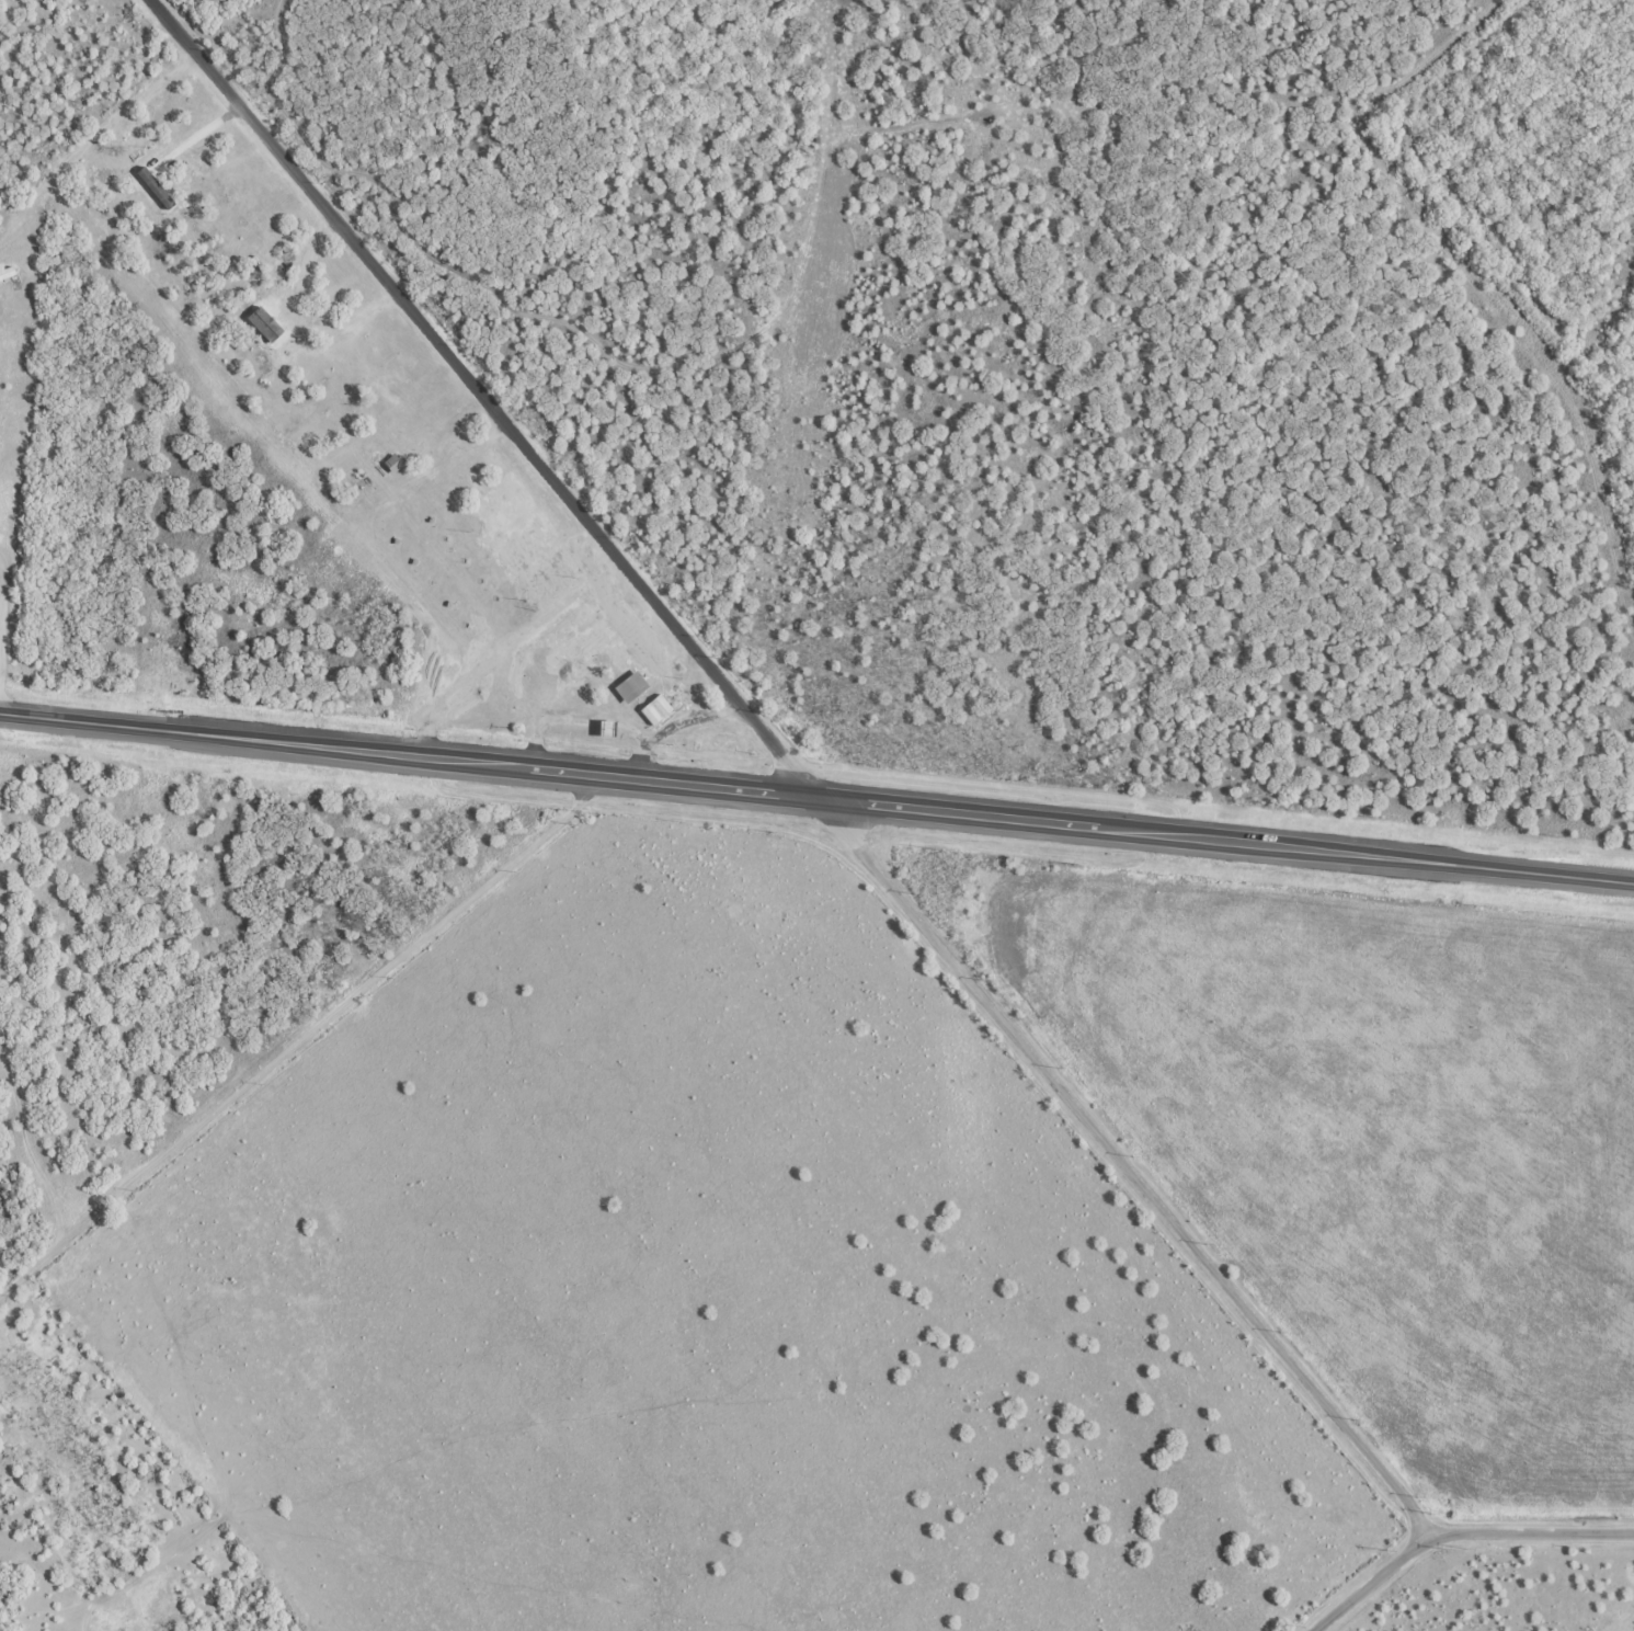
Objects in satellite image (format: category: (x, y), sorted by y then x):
building: (4, 273)
building: (388, 464)
building: (640, 637)
building: (631, 686)
building: (655, 709)
road: (790, 771)
road: (816, 798)
road: (304, 1034)
road: (1456, 1535)

